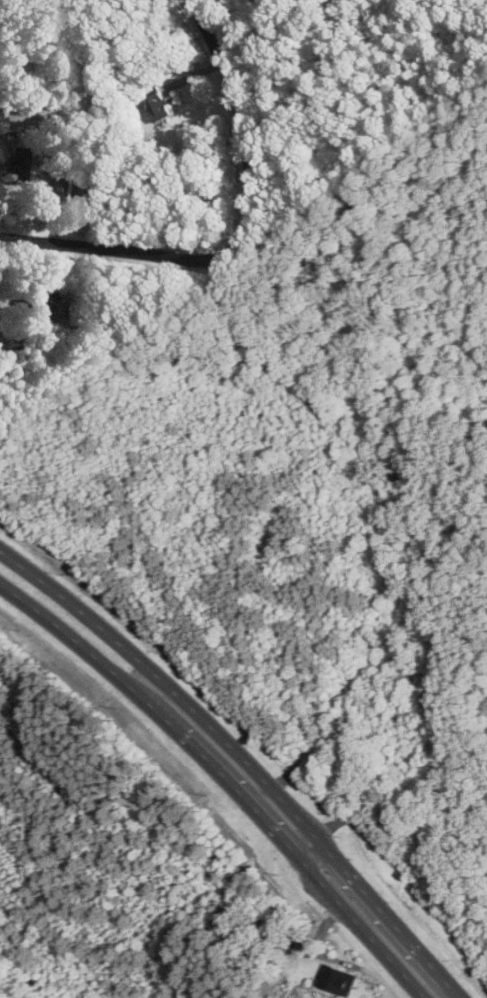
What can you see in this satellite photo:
building: (158, 105)
road: (245, 134)
building: (77, 189)
road: (105, 246)
building: (38, 308)
road: (244, 759)
road: (224, 780)
building: (334, 979)

